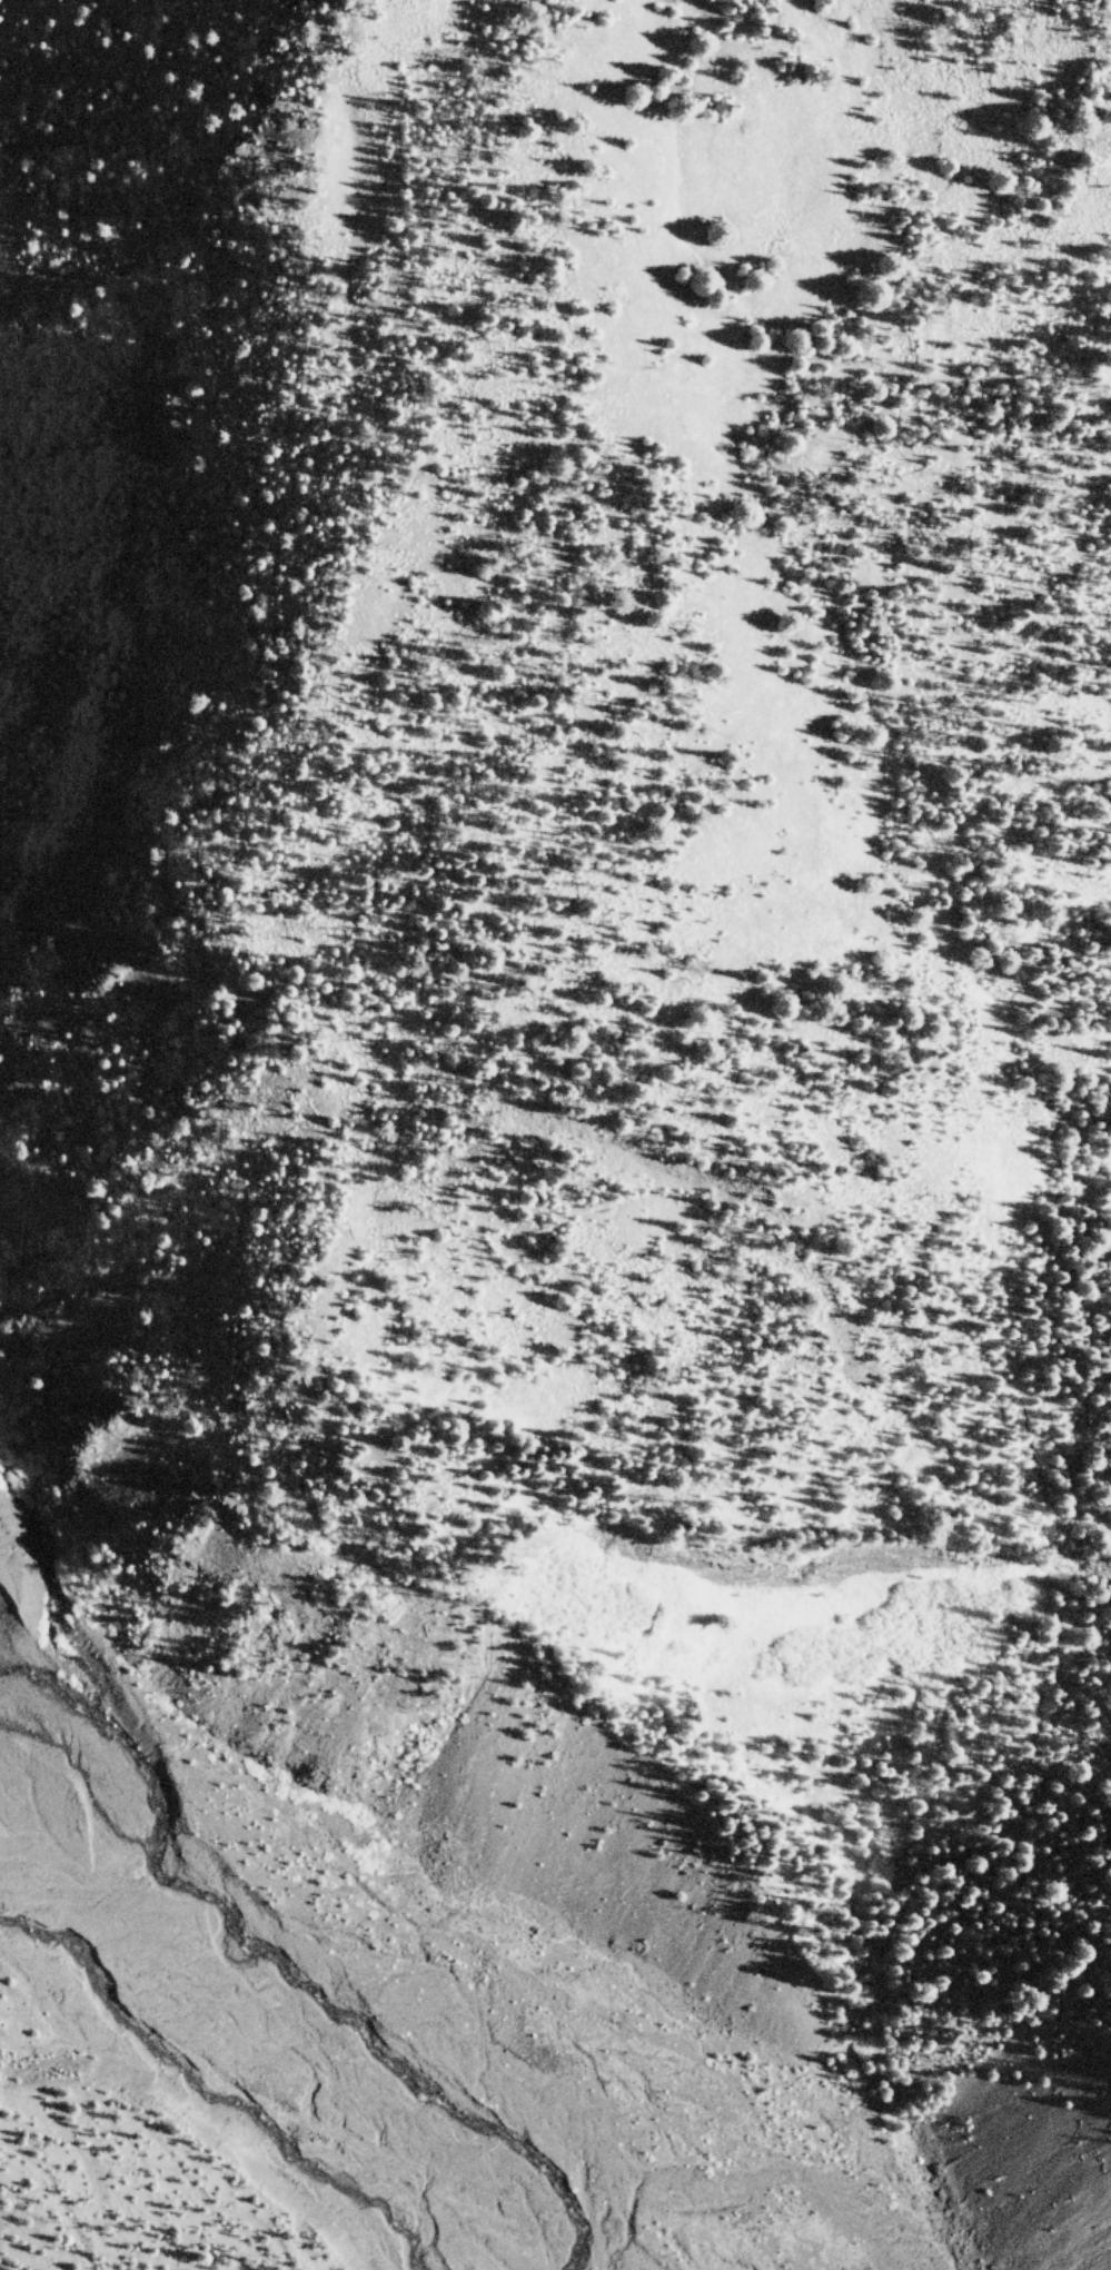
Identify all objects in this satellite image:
road: (113, 2005)
road: (661, 2041)
road: (34, 2068)
river: (425, 2123)
road: (162, 2147)
road: (32, 2240)

